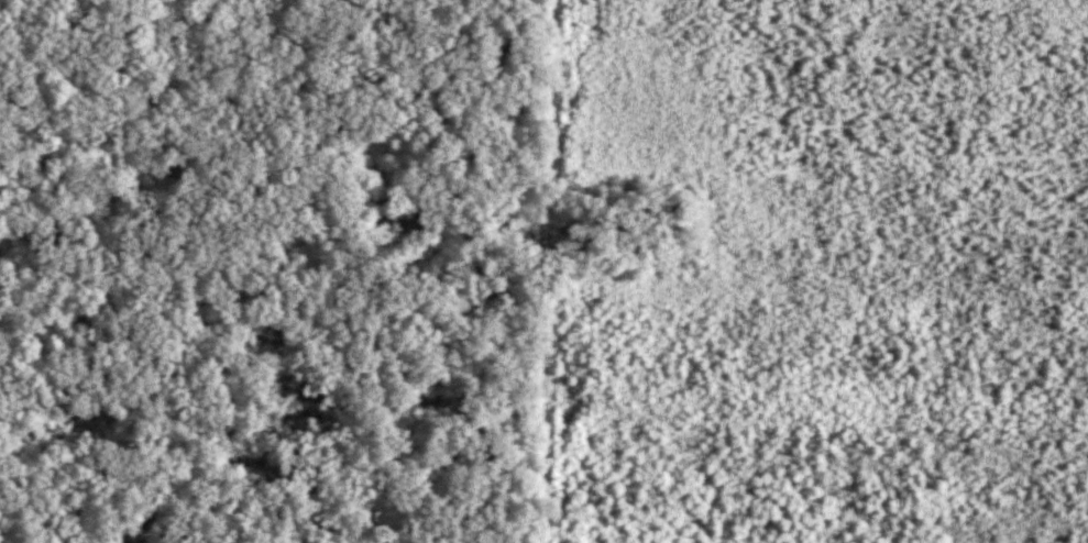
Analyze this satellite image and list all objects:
road: (560, 271)

